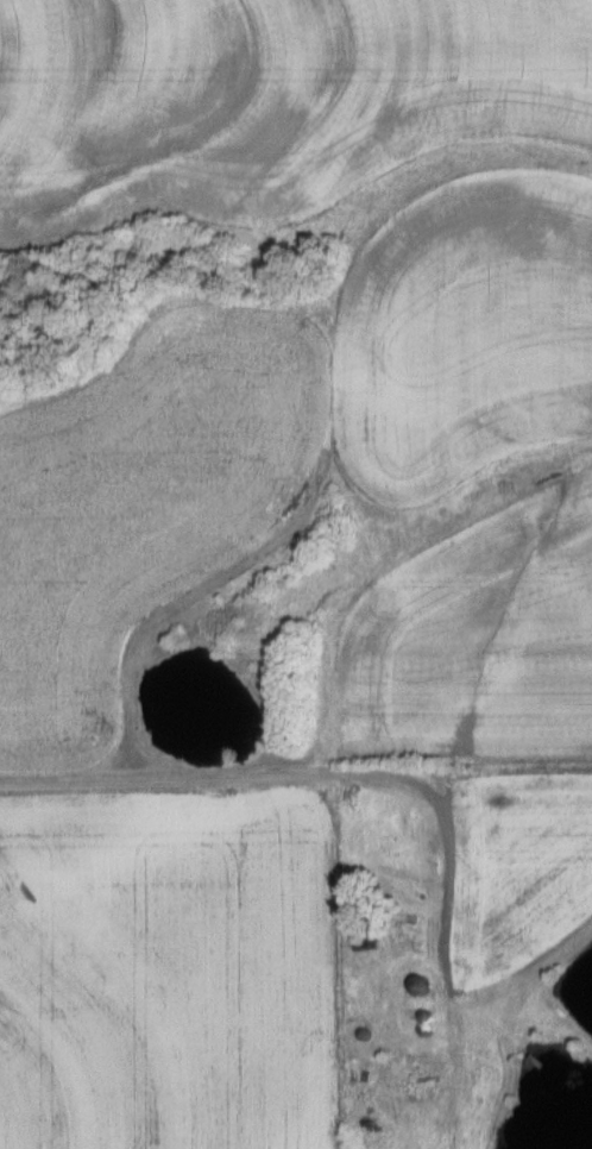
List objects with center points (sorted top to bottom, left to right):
road: (276, 779)
building: (417, 984)
building: (420, 1069)

